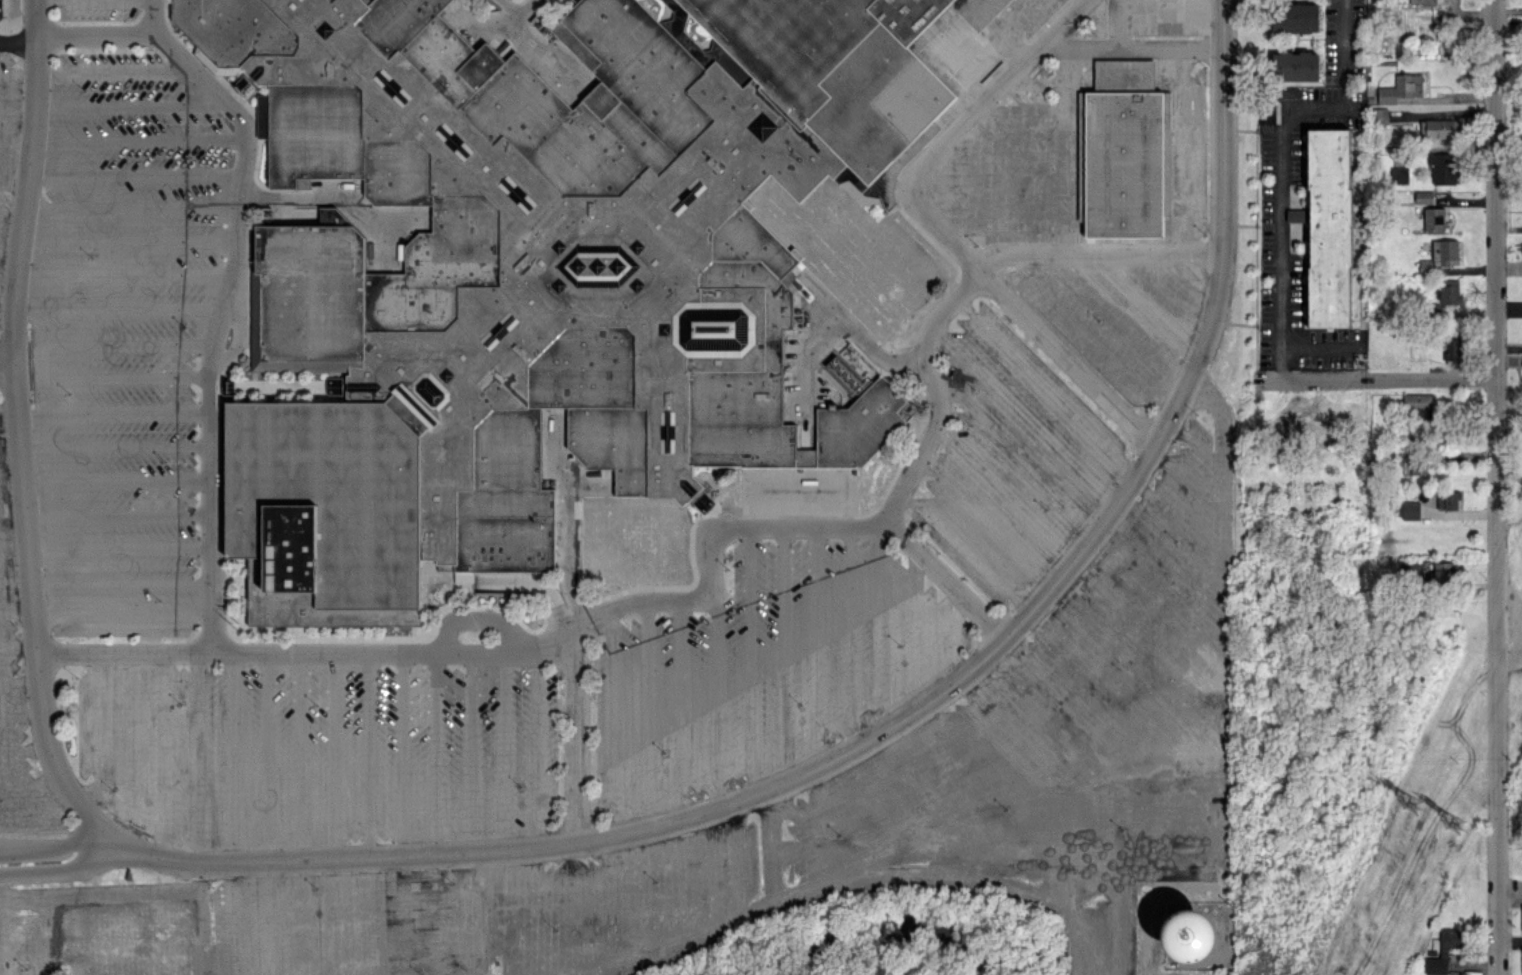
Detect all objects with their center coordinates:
road: (96, 2)
parking lot: (480, 3)
parking lot: (518, 6)
parking lot: (97, 8)
parking lot: (0, 9)
road: (519, 10)
road: (1154, 13)
building: (1296, 17)
road: (1226, 24)
road: (99, 37)
road: (1341, 39)
road: (19, 44)
road: (1132, 48)
road: (545, 55)
building: (1295, 65)
road: (115, 71)
road: (18, 78)
road: (1036, 82)
parking lot: (1177, 86)
building: (1401, 88)
road: (132, 104)
road: (1321, 104)
road: (18, 112)
road: (1015, 127)
building: (1438, 128)
parking lot: (9, 130)
road: (139, 139)
road: (16, 148)
road: (1066, 151)
building: (1124, 151)
road: (1186, 151)
parking lot: (1018, 162)
building: (1444, 167)
building: (1399, 174)
road: (135, 175)
road: (1034, 175)
road: (13, 181)
road: (975, 188)
building: (1424, 196)
road: (339, 197)
road: (132, 207)
road: (999, 209)
road: (11, 214)
building: (1297, 215)
building: (1434, 218)
building: (1330, 226)
road: (942, 229)
road: (1282, 237)
road: (130, 239)
road: (383, 245)
road: (9, 247)
building: (1444, 251)
road: (1226, 254)
building: (1425, 265)
building: (547, 273)
road: (125, 274)
road: (1186, 284)
road: (7, 288)
building: (1450, 291)
road: (1158, 301)
road: (225, 308)
road: (119, 309)
parking lot: (1118, 317)
road: (1126, 318)
road: (7, 320)
road: (855, 331)
road: (1094, 334)
parking lot: (124, 337)
road: (1317, 344)
road: (128, 345)
building: (1453, 348)
road: (40, 362)
road: (7, 365)
road: (127, 378)
road: (1389, 380)
road: (808, 385)
road: (1047, 386)
building: (1418, 399)
road: (8, 408)
road: (115, 412)
road: (1026, 413)
building: (863, 426)
road: (9, 431)
road: (20, 444)
road: (117, 446)
road: (1012, 447)
parking lot: (1009, 457)
building: (1418, 467)
road: (11, 469)
road: (118, 480)
road: (588, 483)
road: (1497, 487)
building: (796, 491)
road: (1008, 493)
building: (1448, 498)
road: (12, 504)
building: (1411, 509)
road: (120, 514)
road: (566, 515)
road: (988, 522)
road: (14, 540)
road: (712, 548)
road: (121, 549)
road: (969, 551)
building: (1412, 570)
building: (1444, 570)
road: (15, 575)
road: (946, 578)
road: (536, 582)
road: (123, 584)
road: (16, 611)
road: (124, 614)
road: (477, 619)
road: (886, 627)
road: (916, 628)
road: (953, 634)
road: (852, 640)
road: (18, 648)
road: (817, 648)
road: (785, 655)
road: (751, 662)
parking lot: (764, 668)
road: (19, 681)
road: (715, 697)
parking lot: (17, 698)
road: (681, 711)
road: (21, 715)
road: (648, 716)
road: (614, 724)
road: (99, 734)
road: (131, 735)
road: (578, 736)
road: (24, 748)
road: (538, 748)
parking lot: (319, 752)
road: (504, 753)
road: (471, 754)
road: (437, 755)
road: (164, 756)
road: (369, 756)
road: (402, 756)
road: (335, 757)
road: (301, 758)
road: (267, 759)
road: (199, 760)
road: (233, 760)
road: (31, 783)
power tower: (1412, 805)
road: (40, 808)
road: (715, 809)
road: (128, 814)
power tower: (1459, 824)
road: (68, 847)
road: (69, 868)
road: (100, 891)
road: (1510, 897)
road: (0, 912)
road: (203, 921)
road: (1, 924)
road: (47, 935)
river: (898, 935)
water tower: (1176, 940)
parking lot: (28, 944)
building: (1444, 950)

